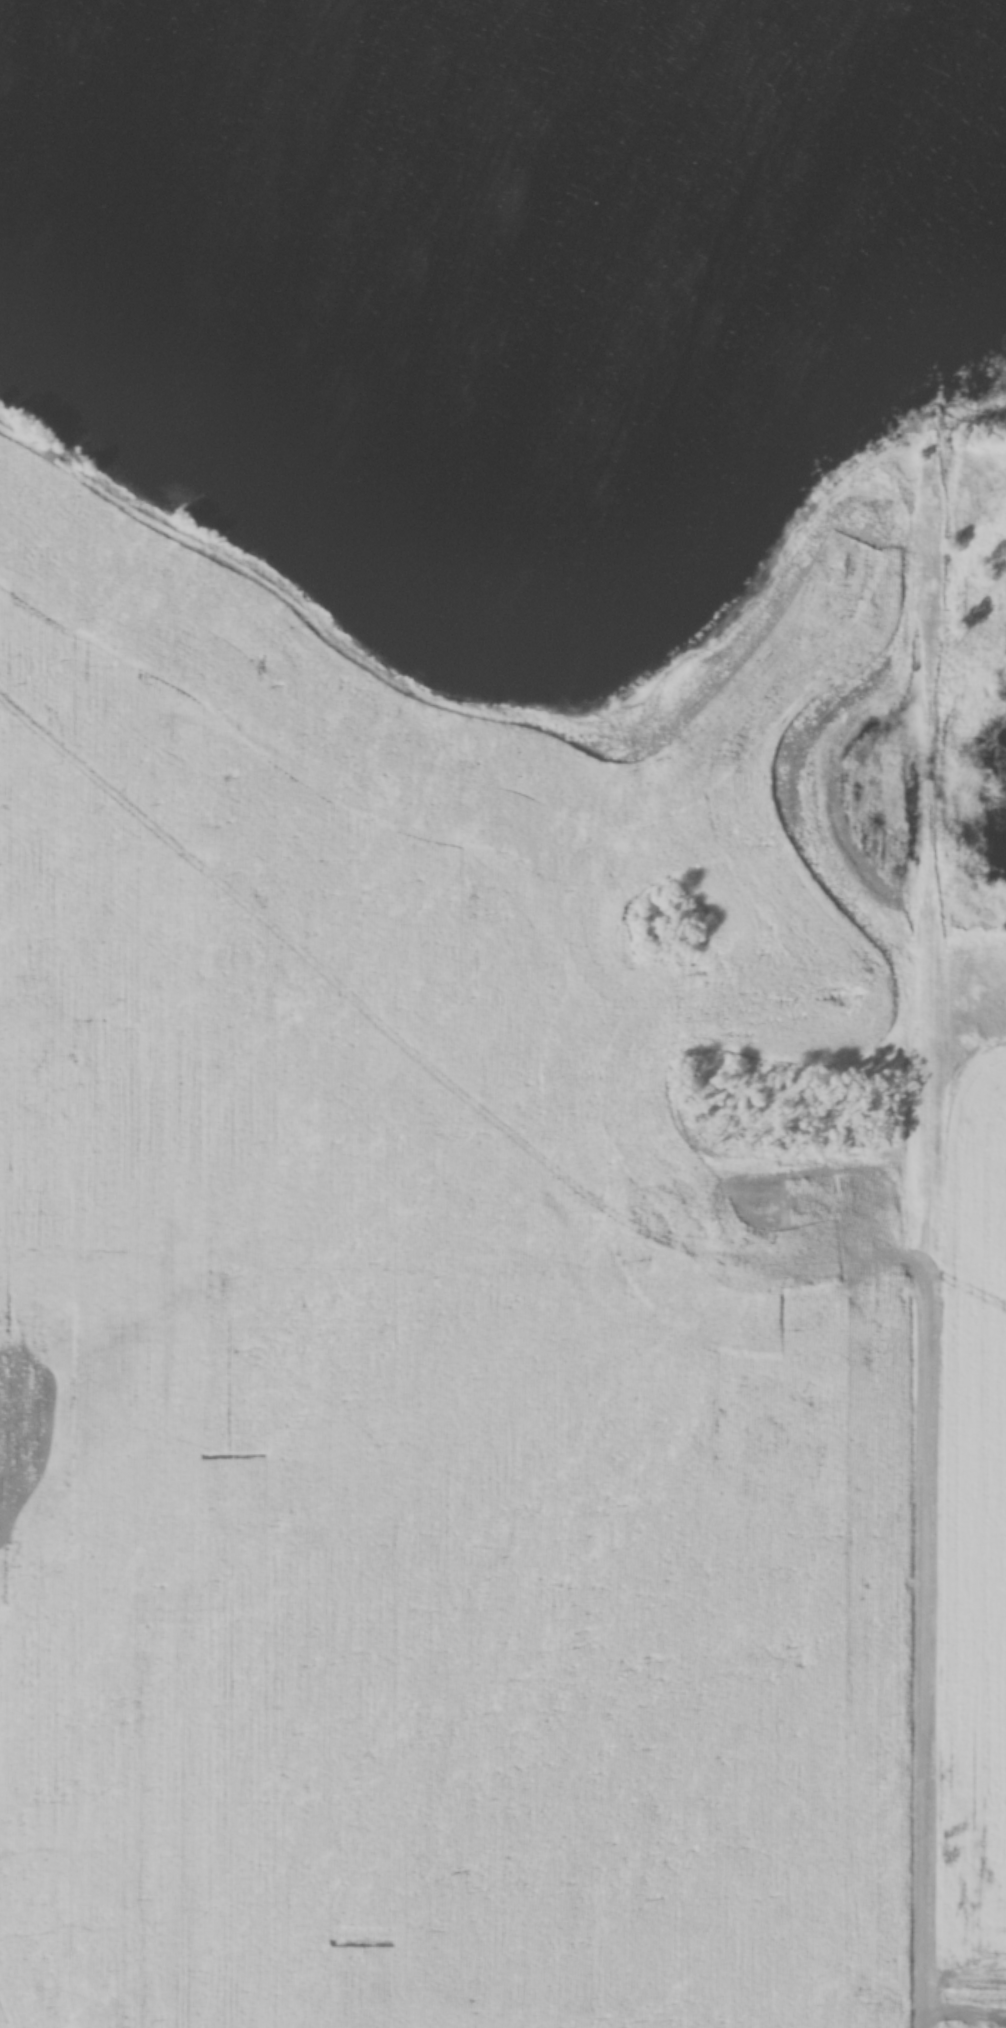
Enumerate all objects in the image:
road: (503, 110)
road: (930, 1070)

